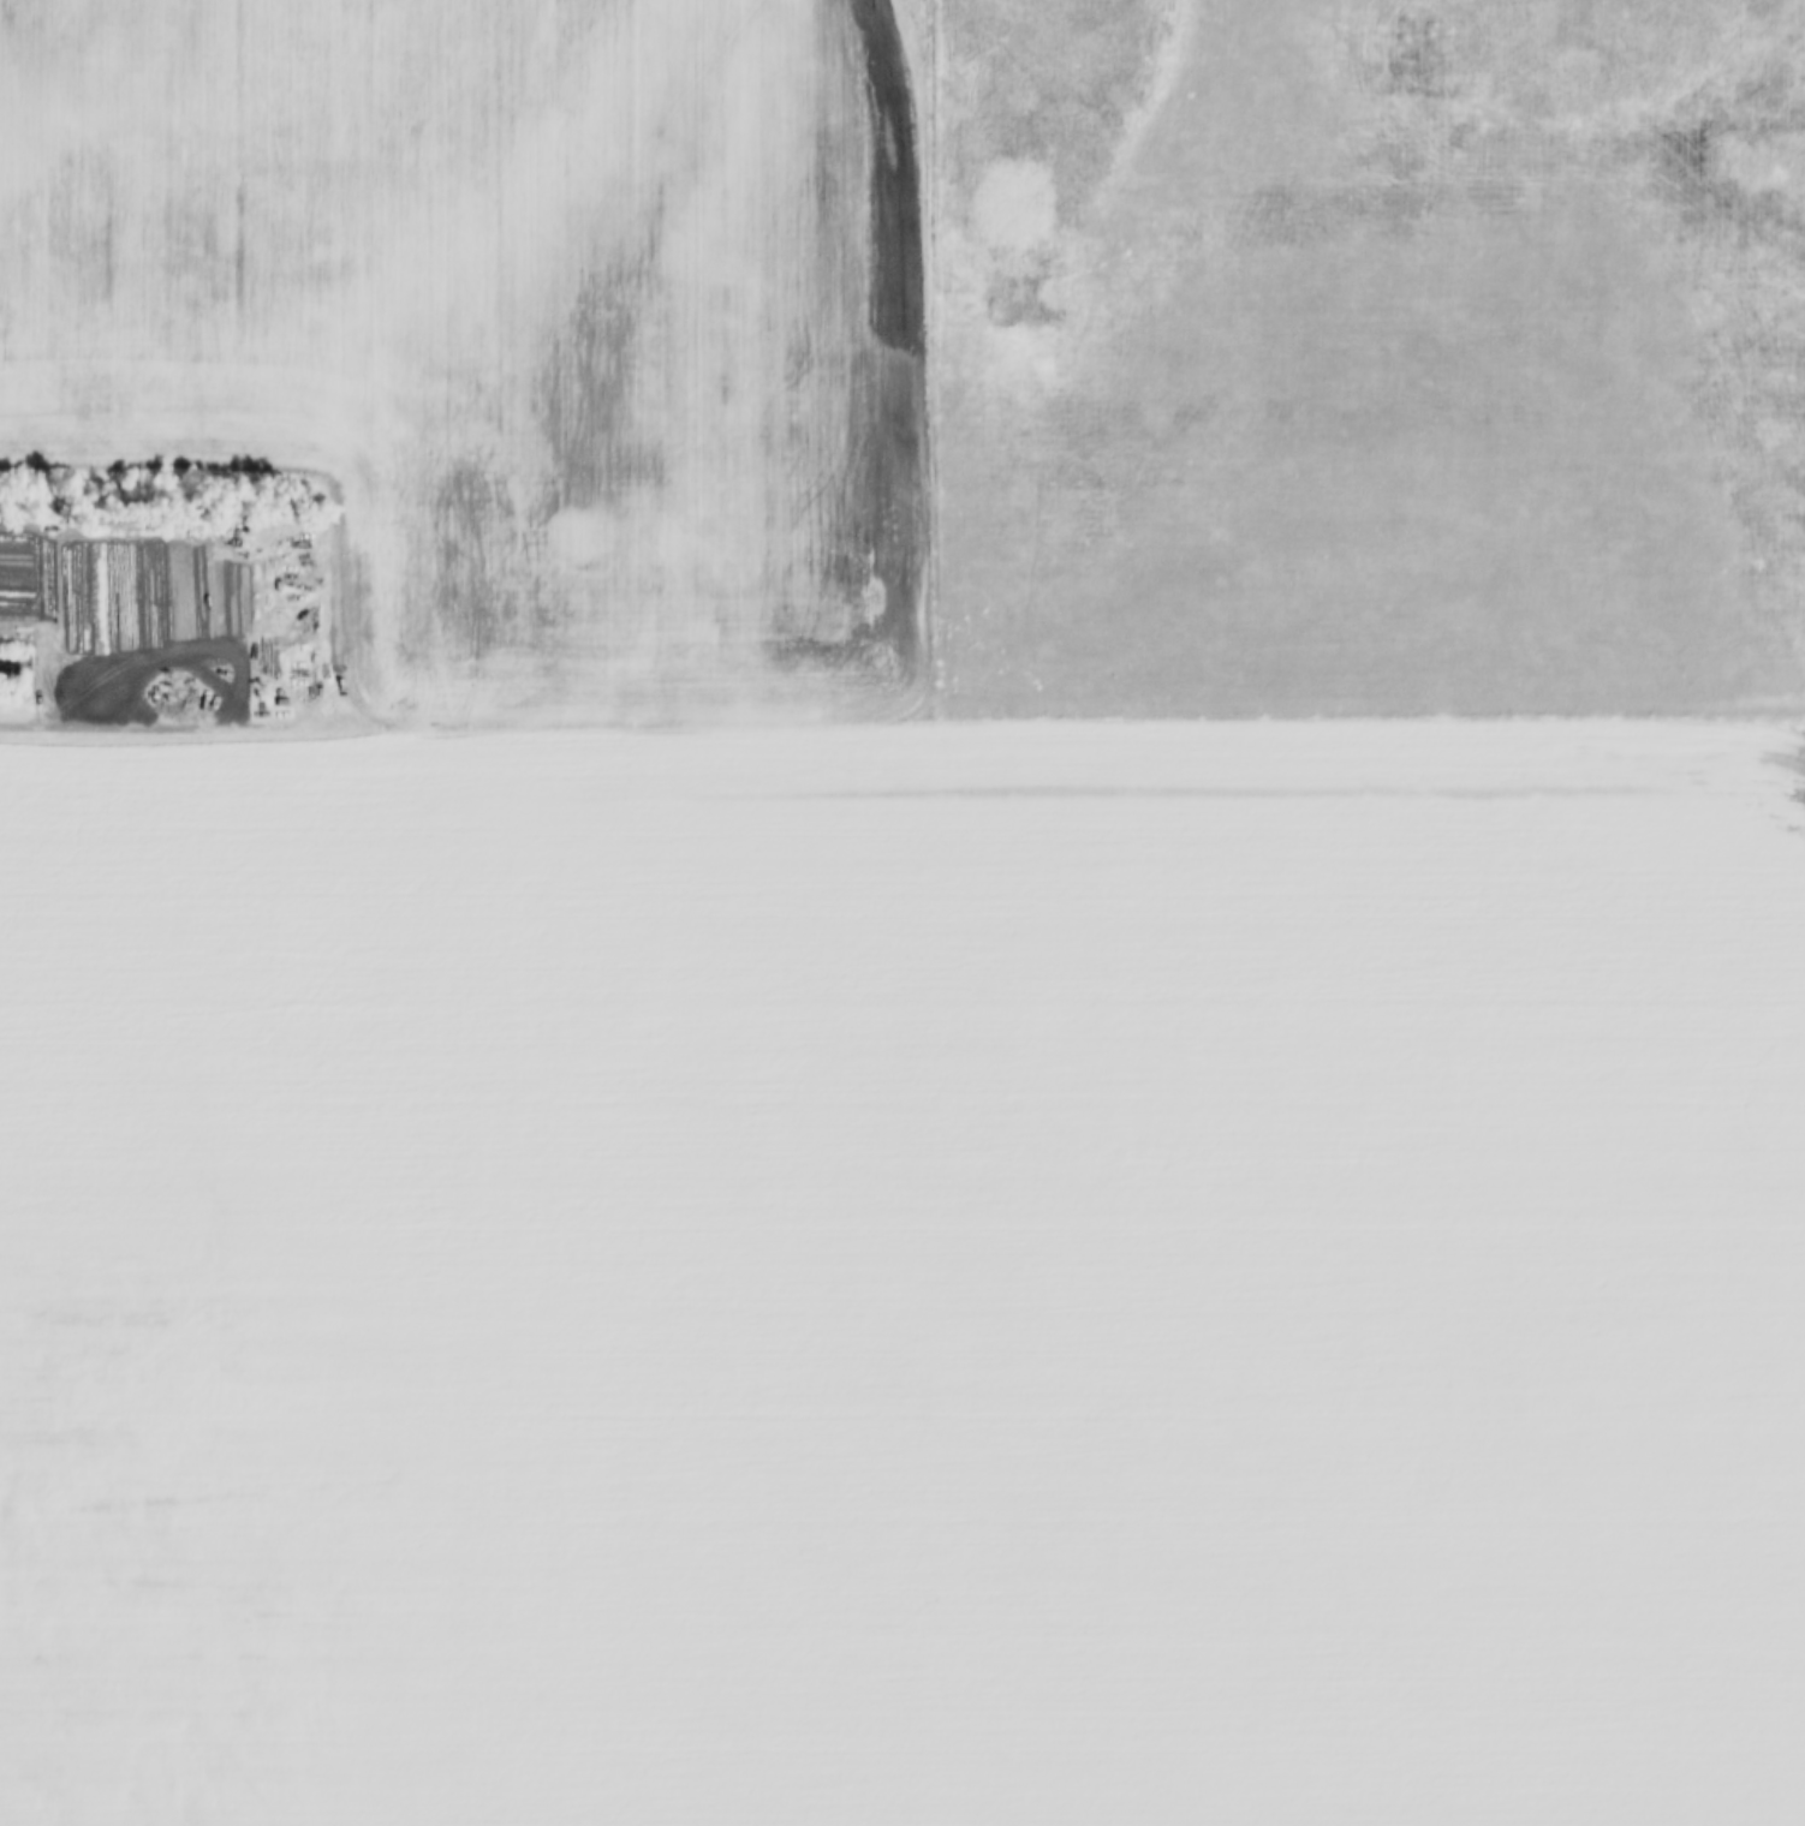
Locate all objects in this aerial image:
road: (902, 718)

